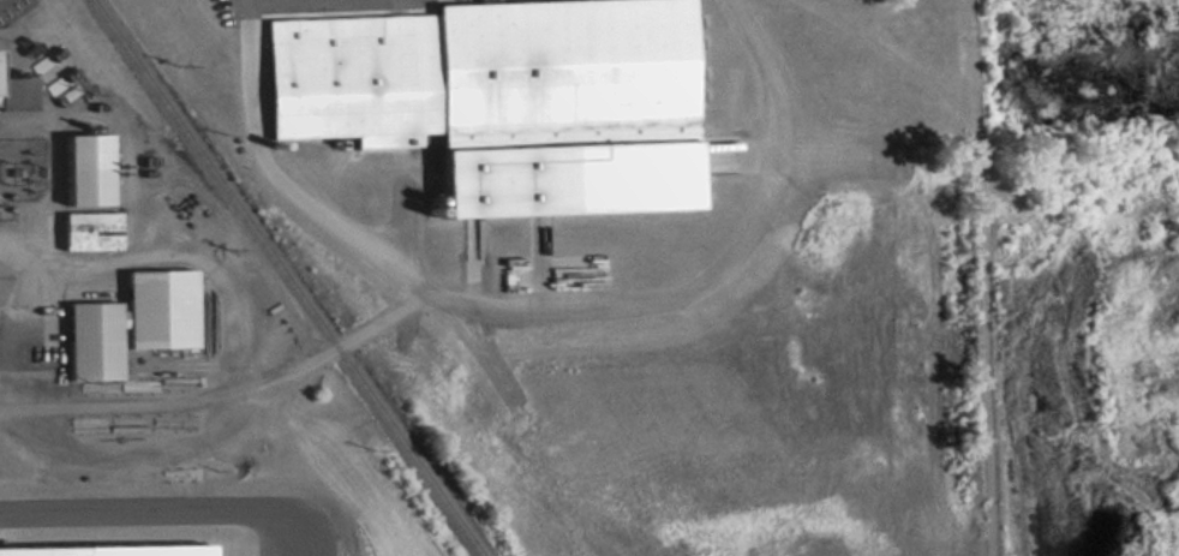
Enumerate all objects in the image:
building: (46, 61)
building: (478, 70)
building: (61, 79)
building: (14, 91)
building: (83, 168)
building: (89, 229)
railway: (289, 277)
building: (130, 322)
road: (175, 510)

